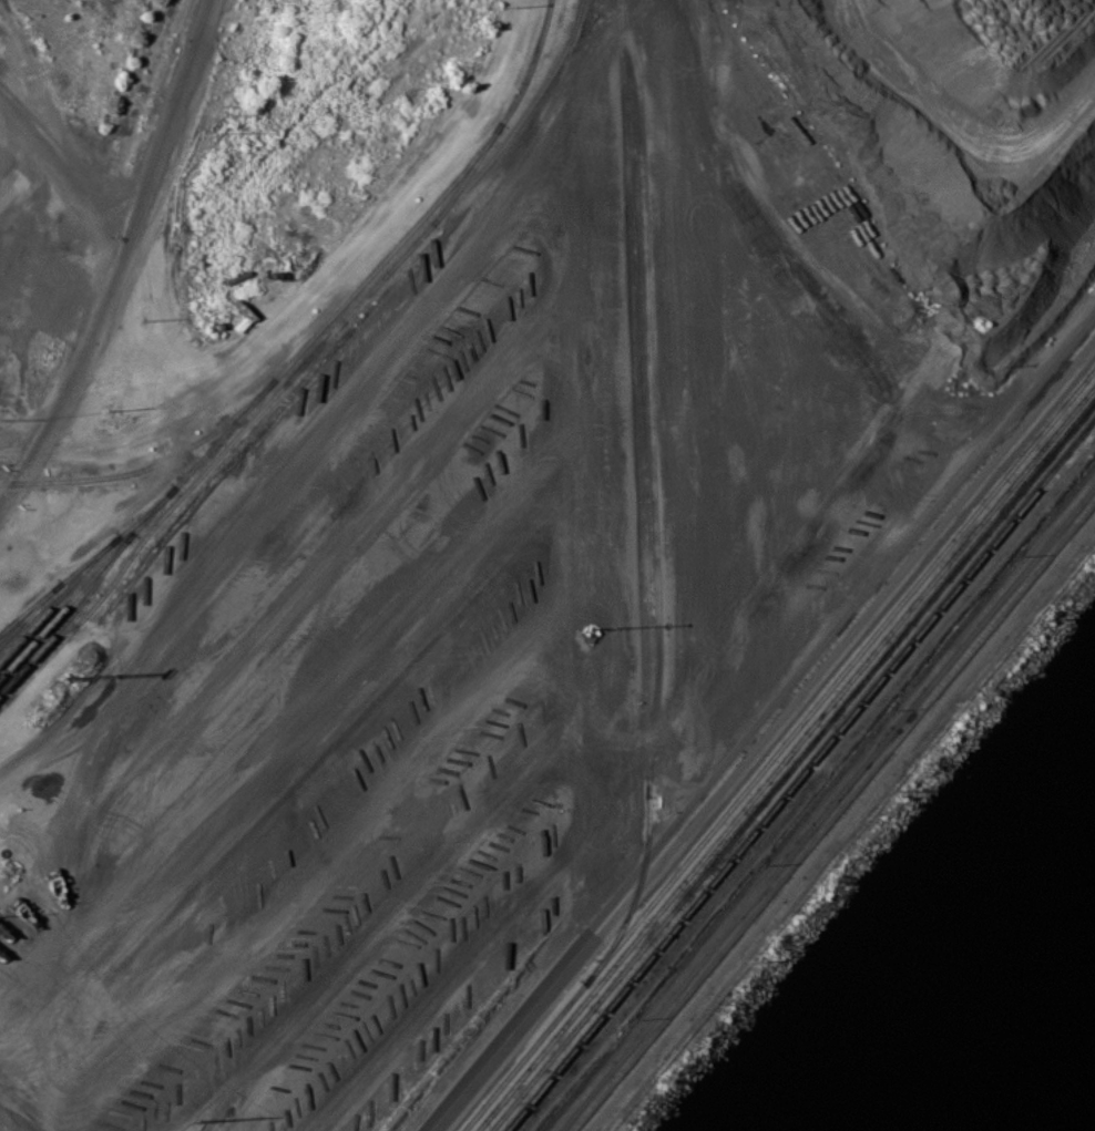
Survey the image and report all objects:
railway: (519, 120)
railway: (501, 121)
railway: (465, 174)
road: (63, 177)
road: (120, 261)
road: (735, 298)
railway: (628, 304)
railway: (286, 380)
railway: (648, 397)
railway: (239, 409)
railway: (242, 414)
road: (260, 477)
railway: (175, 484)
railway: (124, 539)
railway: (99, 551)
railway: (92, 562)
railway: (104, 569)
railway: (40, 603)
railway: (93, 604)
railway: (29, 606)
railway: (33, 623)
railway: (61, 624)
railway: (10, 633)
railway: (37, 633)
railway: (23, 665)
railway: (18, 685)
railway: (643, 718)
road: (766, 736)
railway: (778, 748)
railway: (785, 757)
railway: (790, 764)
railway: (798, 773)
road: (838, 820)
railway: (627, 912)

